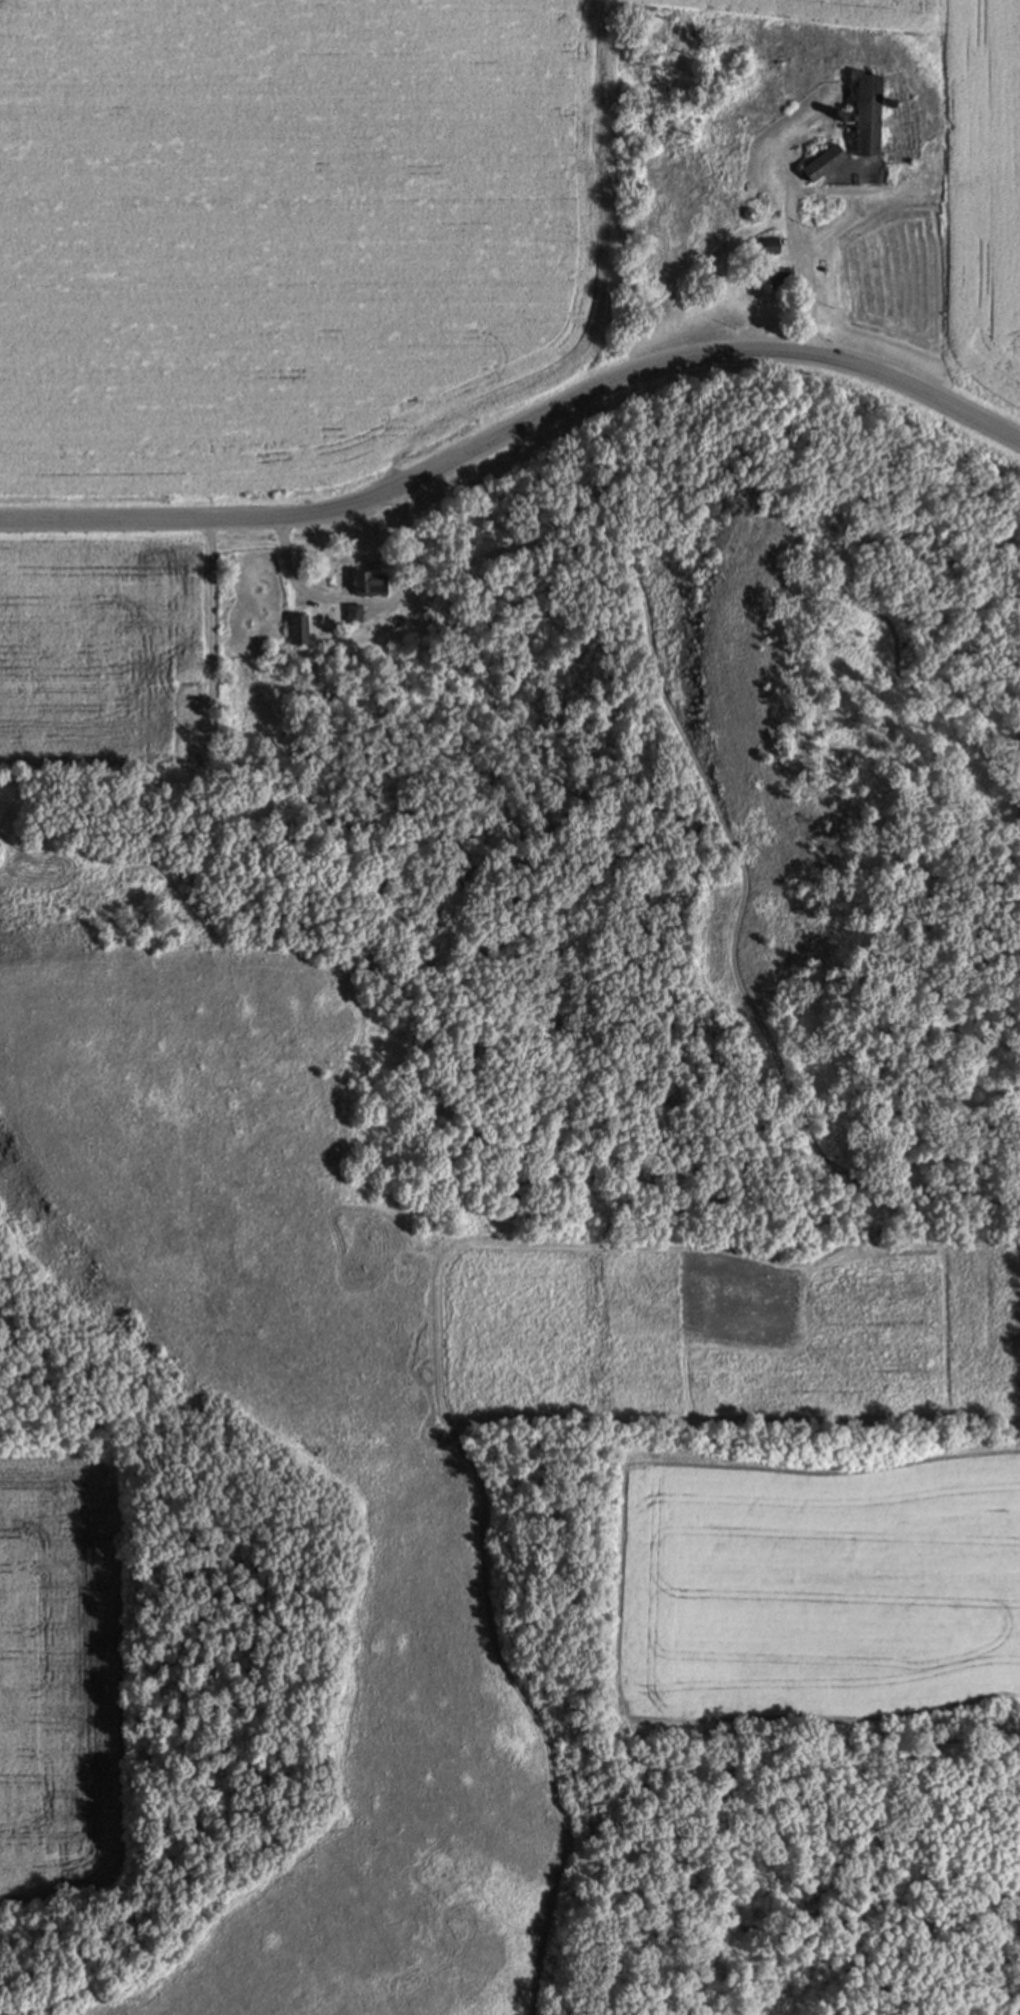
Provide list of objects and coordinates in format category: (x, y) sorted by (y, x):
building: (863, 115)
building: (817, 163)
road: (858, 208)
building: (767, 244)
road: (808, 265)
building: (775, 278)
road: (518, 429)
building: (363, 582)
road: (366, 601)
building: (353, 612)
building: (298, 629)
road: (212, 686)
road: (715, 800)

